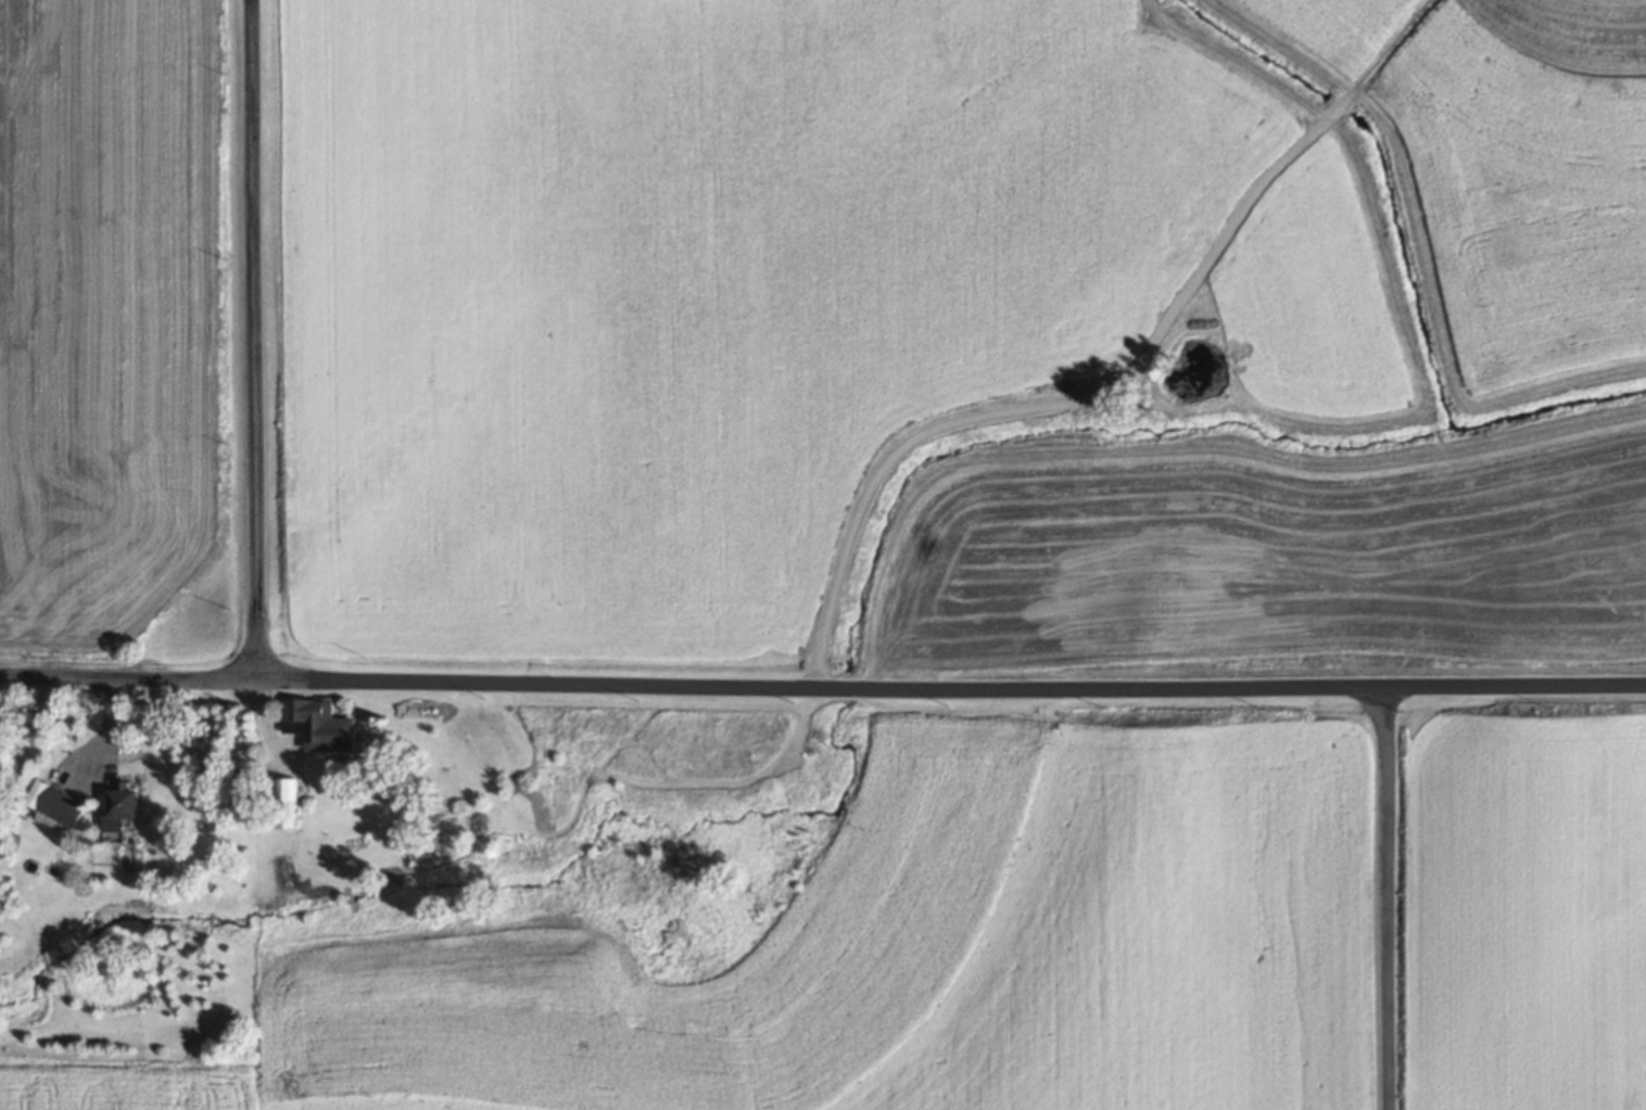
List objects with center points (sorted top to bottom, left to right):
road: (248, 341)
road: (823, 684)
building: (322, 726)
building: (63, 808)
building: (127, 808)
road: (1387, 897)

